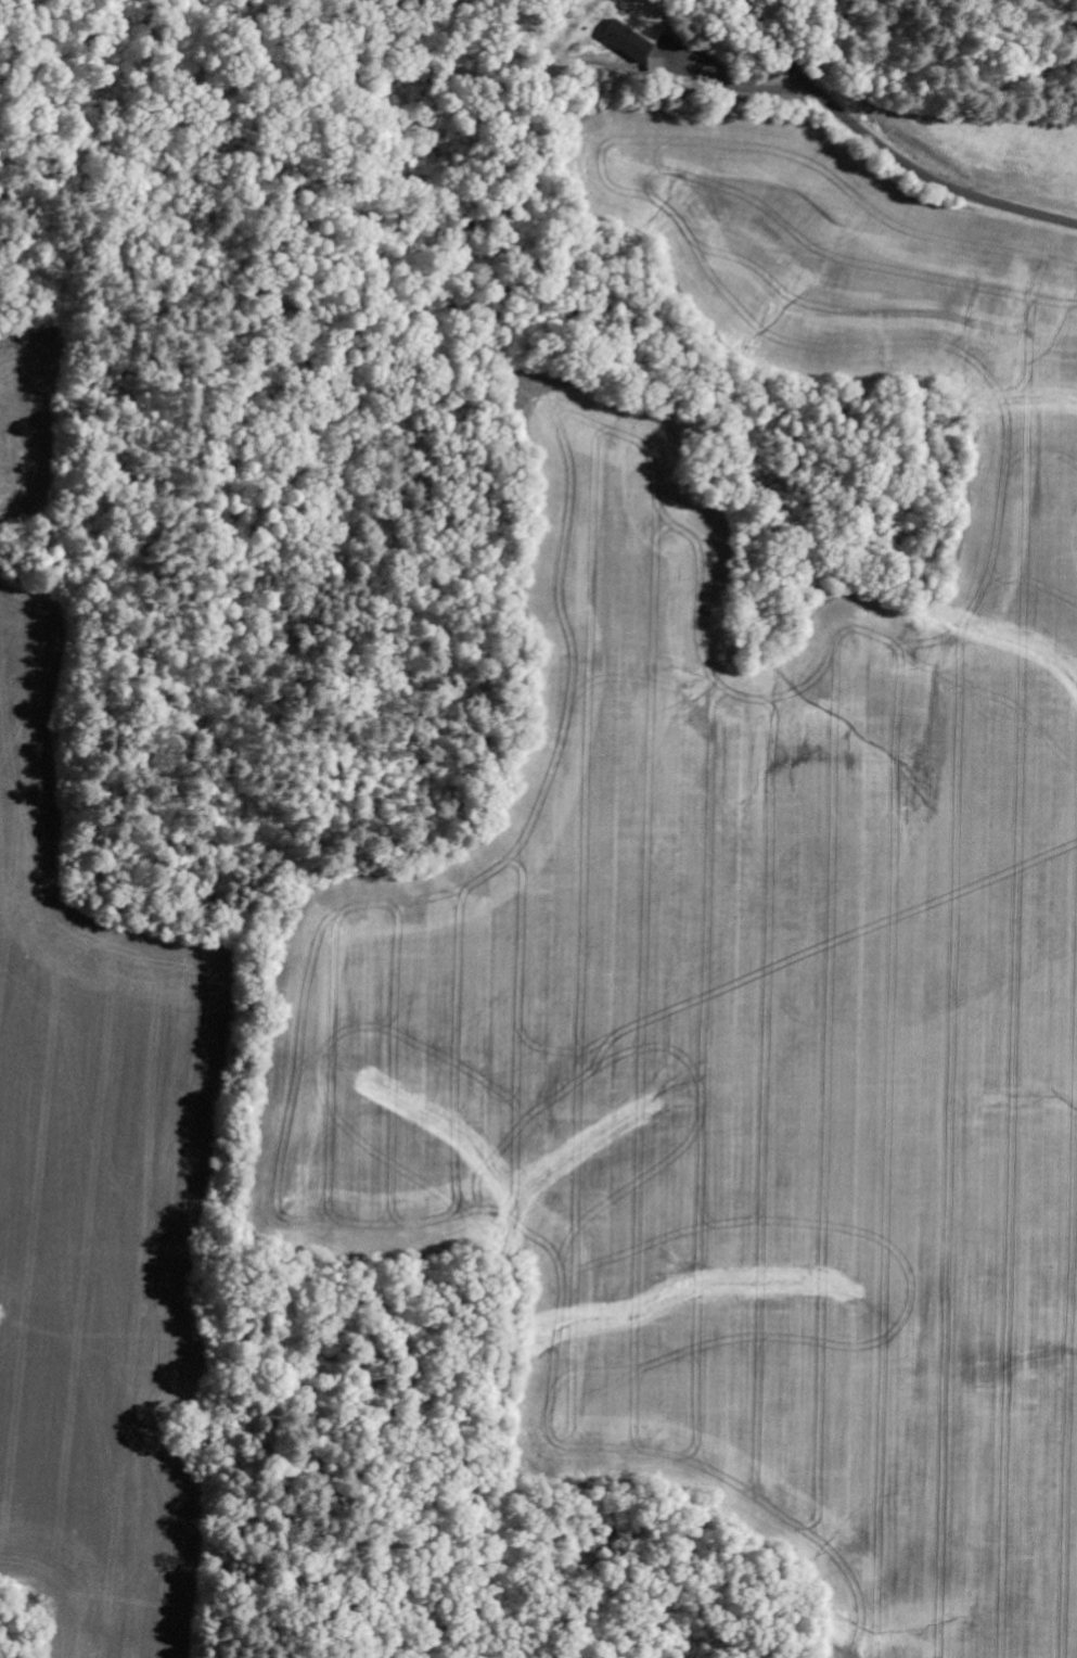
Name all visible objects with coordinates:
building: (623, 41)
road: (884, 148)

